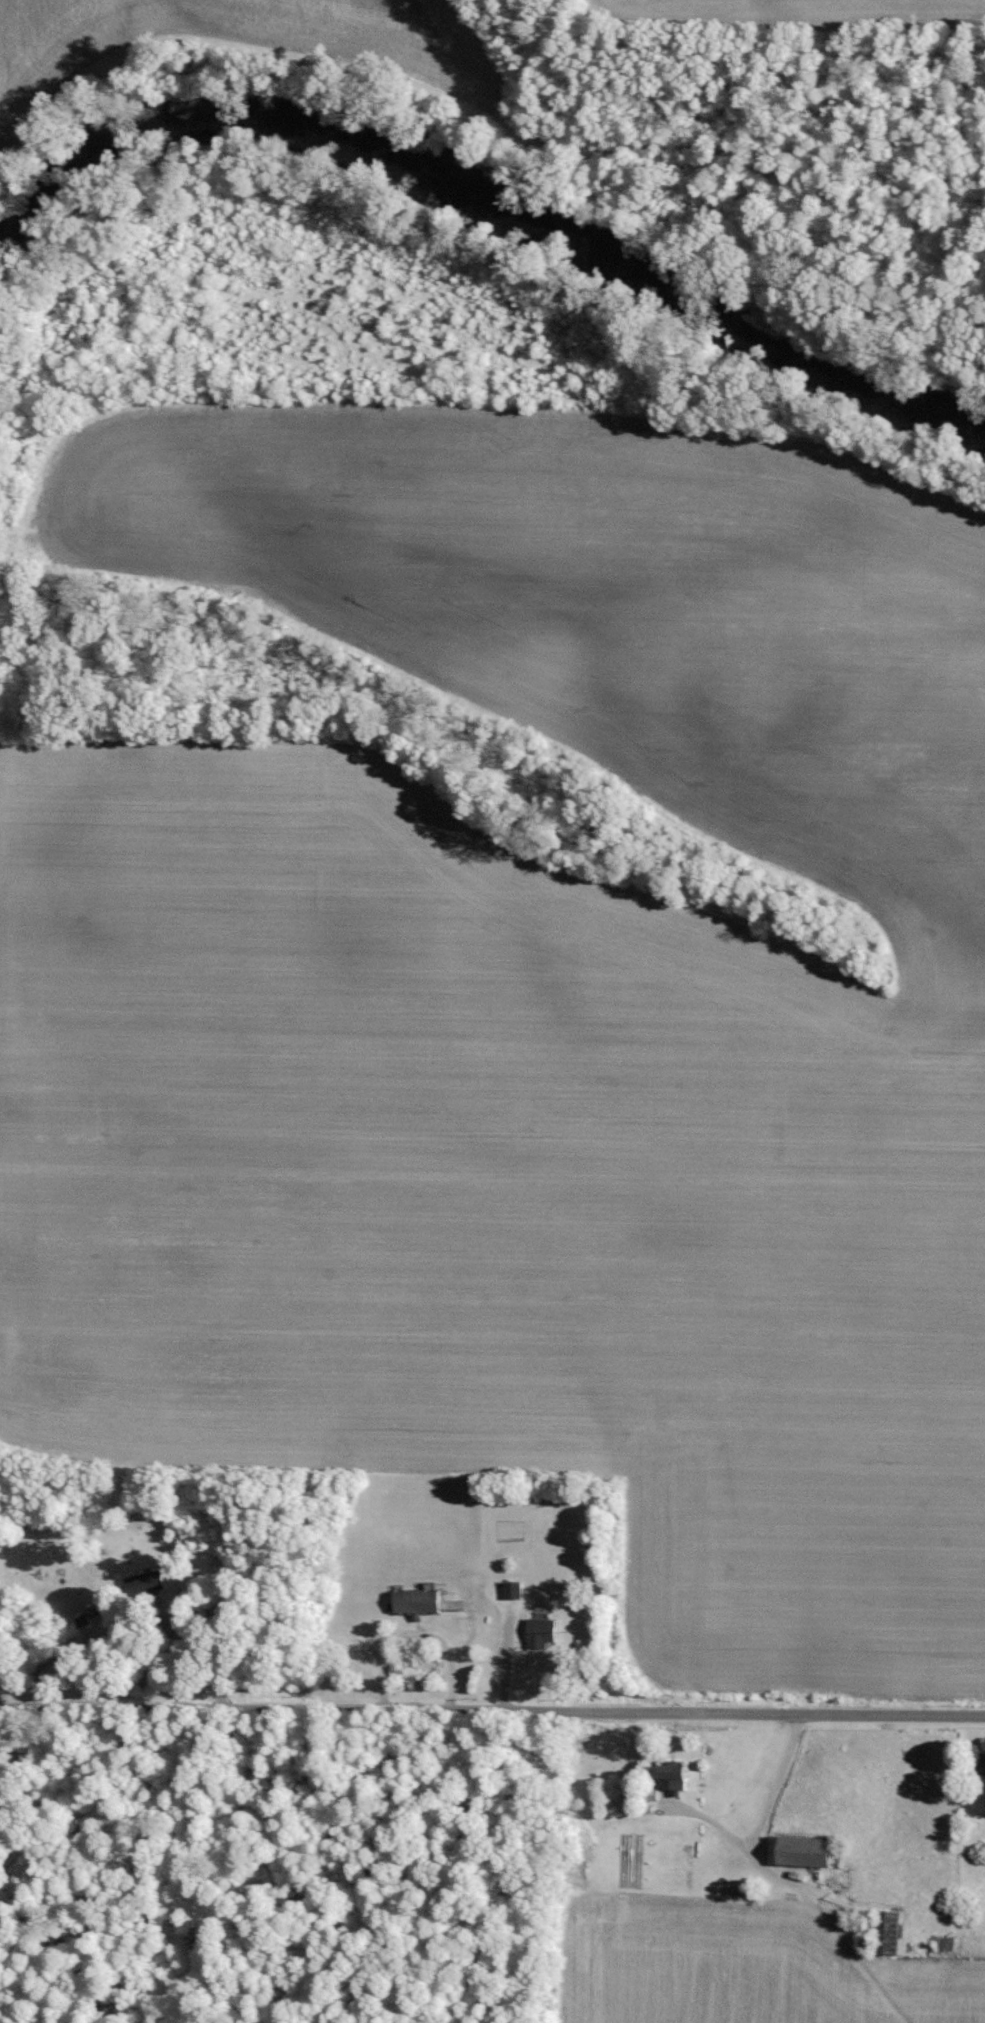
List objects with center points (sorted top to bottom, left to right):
building: (145, 1582)
building: (511, 1589)
building: (417, 1602)
building: (540, 1632)
road: (492, 1710)
building: (673, 1777)
road: (759, 1818)
building: (800, 1851)

